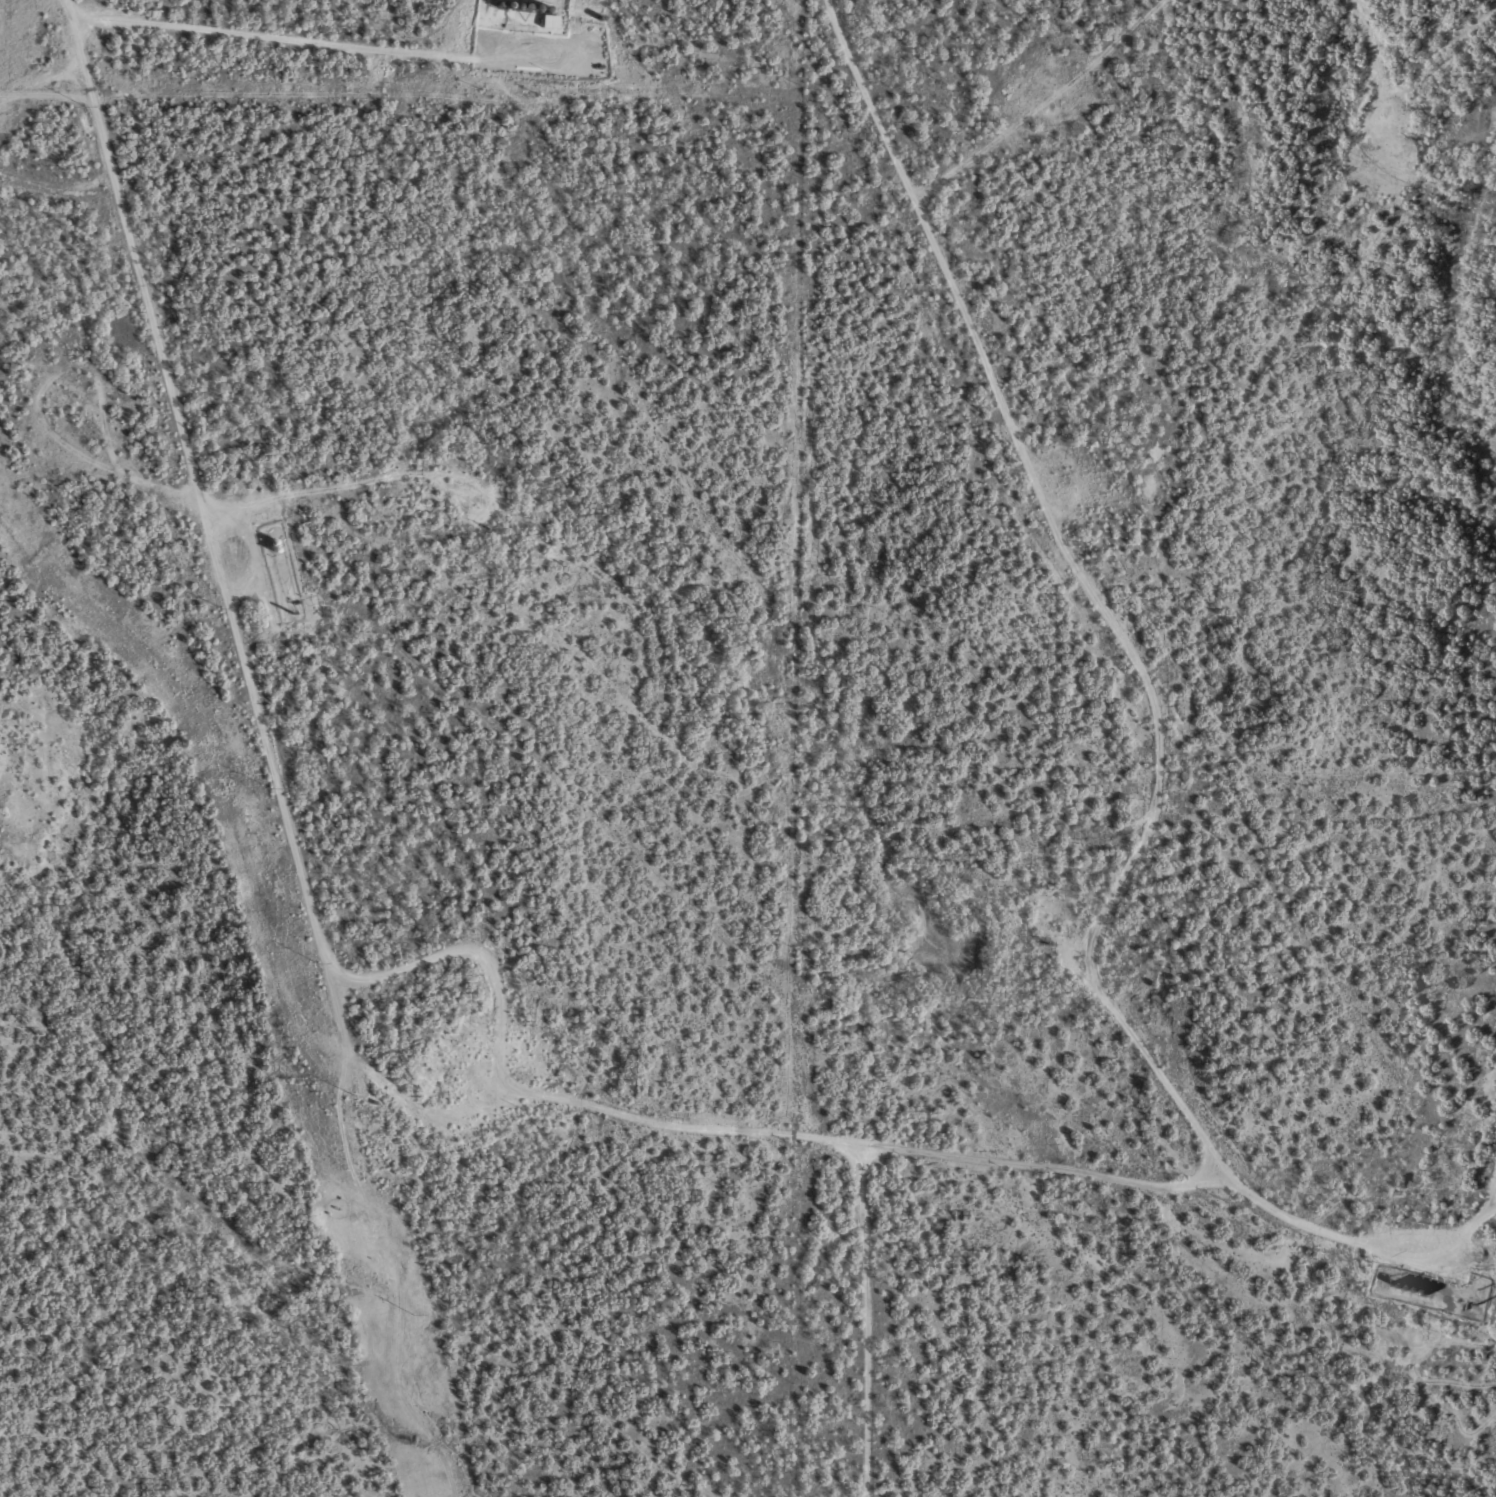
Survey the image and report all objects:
petroleum well: (1049, 938)

